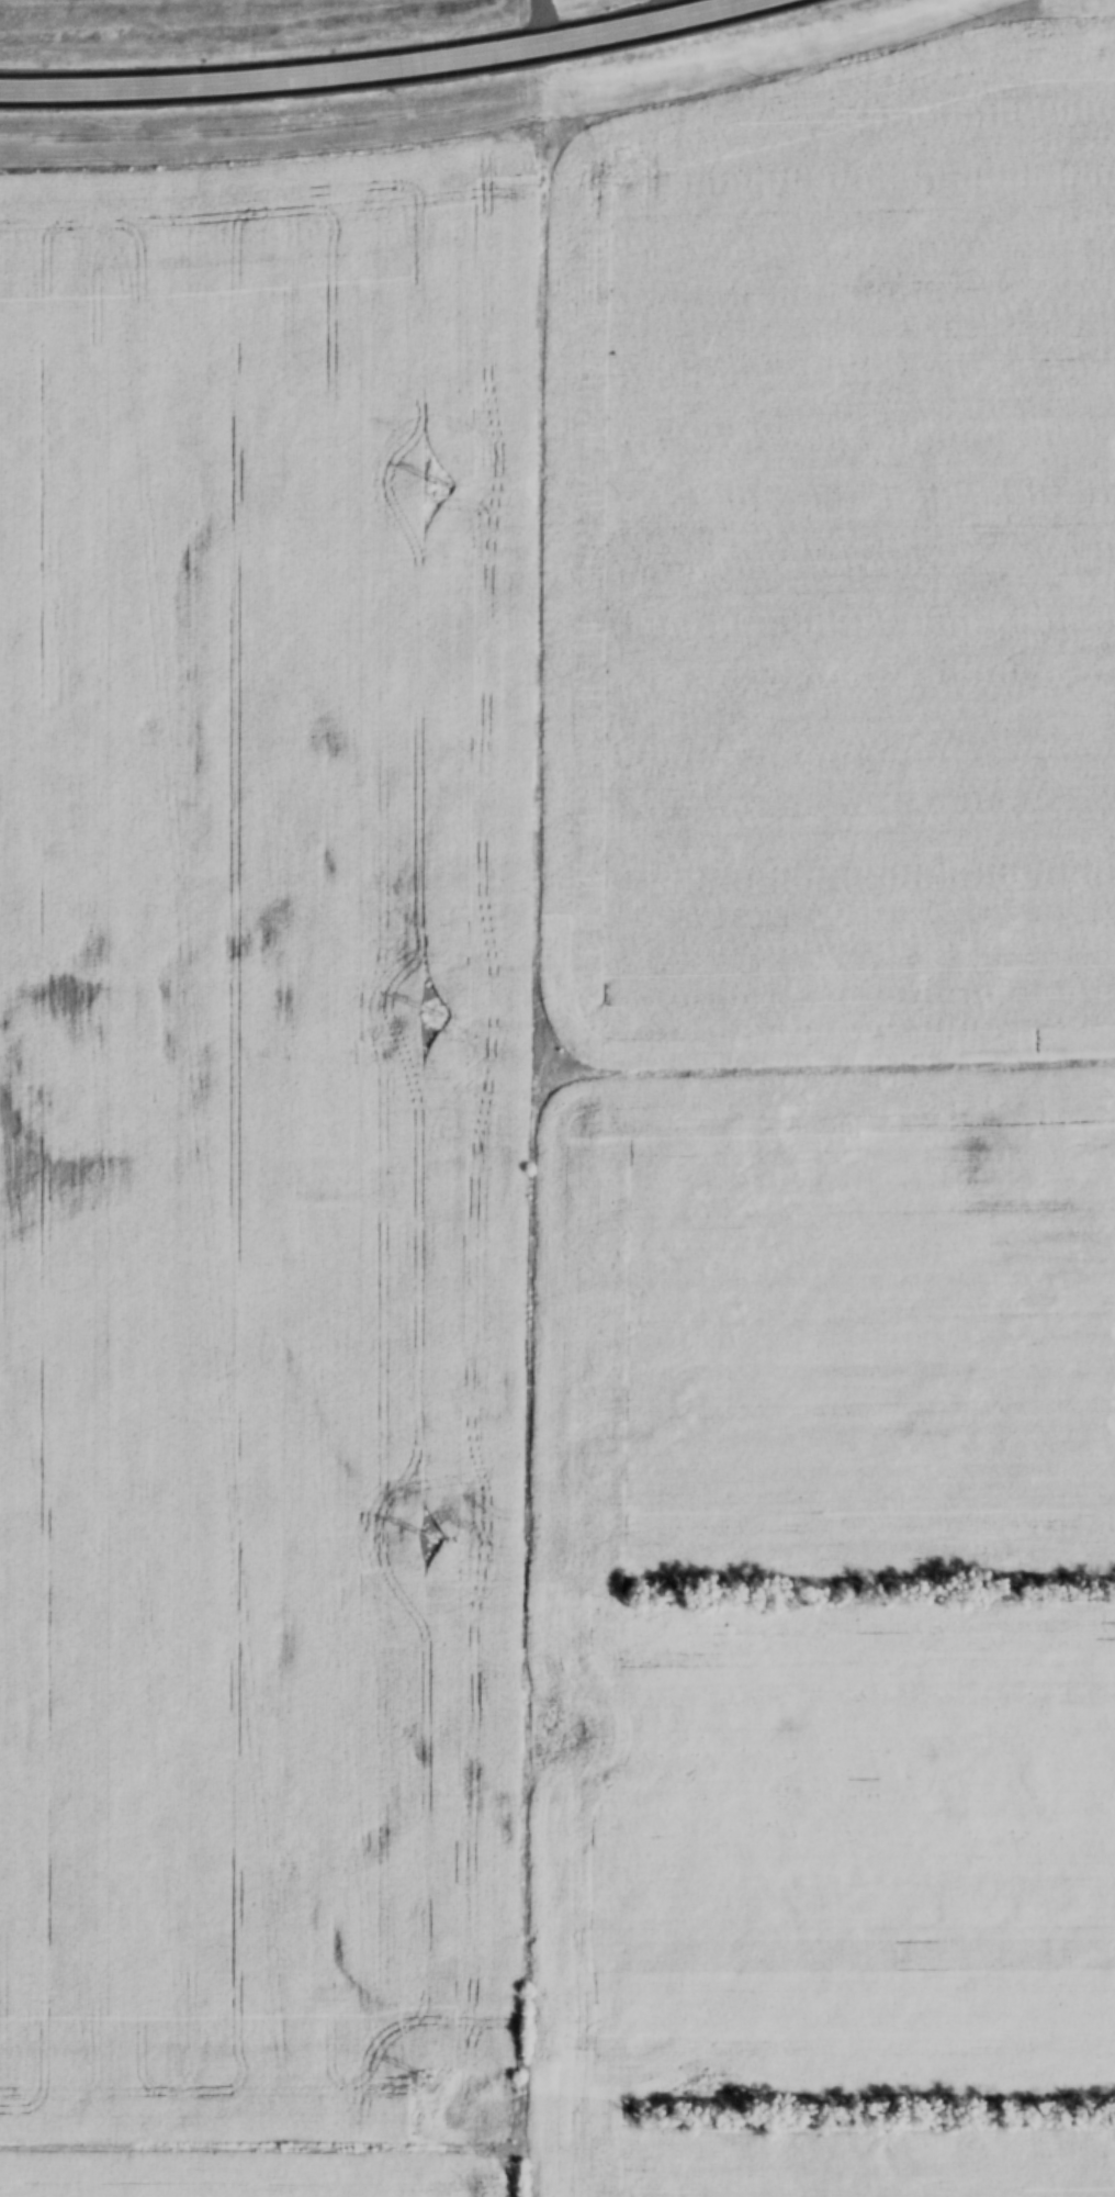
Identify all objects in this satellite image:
road: (371, 63)
power tower: (440, 485)
power tower: (438, 1016)
power tower: (431, 1535)
power tower: (426, 2076)

